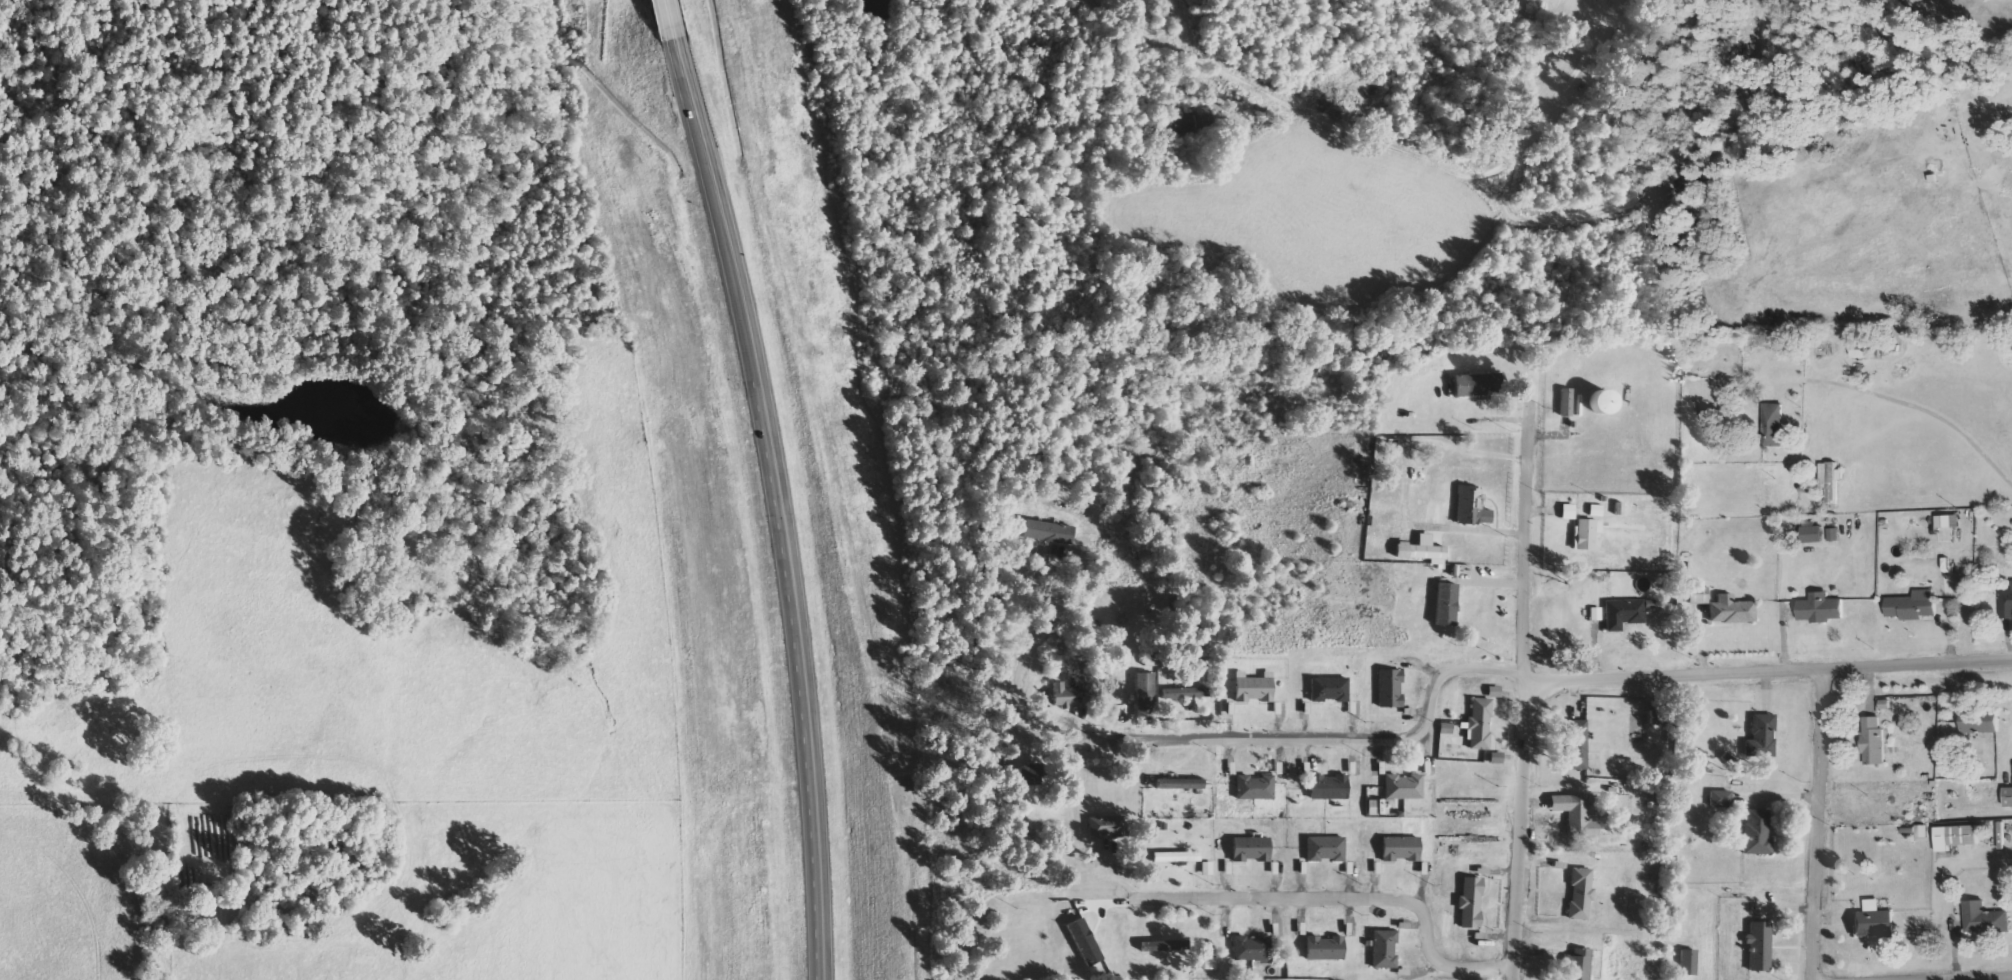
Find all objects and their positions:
road: (672, 21)
road: (720, 206)
building: (1863, 349)
building: (1472, 384)
building: (1564, 402)
building: (1599, 402)
building: (1773, 425)
building: (1830, 480)
building: (1470, 506)
building: (1595, 510)
building: (1567, 512)
building: (1944, 521)
building: (1586, 533)
building: (1813, 534)
building: (1833, 534)
building: (1420, 550)
building: (1698, 595)
building: (2006, 603)
building: (1444, 604)
building: (1912, 606)
building: (1820, 608)
building: (1730, 610)
building: (1622, 613)
building: (1594, 614)
road: (1770, 670)
road: (803, 674)
road: (1529, 684)
building: (1252, 687)
building: (1388, 688)
building: (1328, 689)
building: (1185, 693)
building: (1143, 695)
building: (1061, 696)
building: (1885, 704)
building: (1978, 721)
building: (1478, 724)
building: (1445, 728)
building: (1762, 735)
road: (1359, 739)
building: (1872, 740)
building: (1575, 745)
building: (1495, 758)
building: (1025, 776)
building: (1178, 783)
building: (1254, 787)
building: (1327, 787)
building: (1402, 787)
building: (2007, 796)
building: (1720, 798)
building: (1575, 814)
road: (1823, 823)
building: (1104, 826)
building: (1755, 833)
building: (1955, 836)
building: (1324, 848)
building: (1250, 849)
building: (1399, 849)
building: (1175, 857)
building: (1205, 868)
building: (1579, 893)
road: (1352, 896)
building: (1469, 903)
building: (1984, 918)
building: (1874, 921)
building: (1083, 942)
building: (1163, 946)
building: (1758, 946)
building: (1250, 948)
building: (1323, 948)
building: (1383, 949)
building: (1687, 962)
building: (1209, 963)
building: (1576, 965)
road: (1955, 977)

